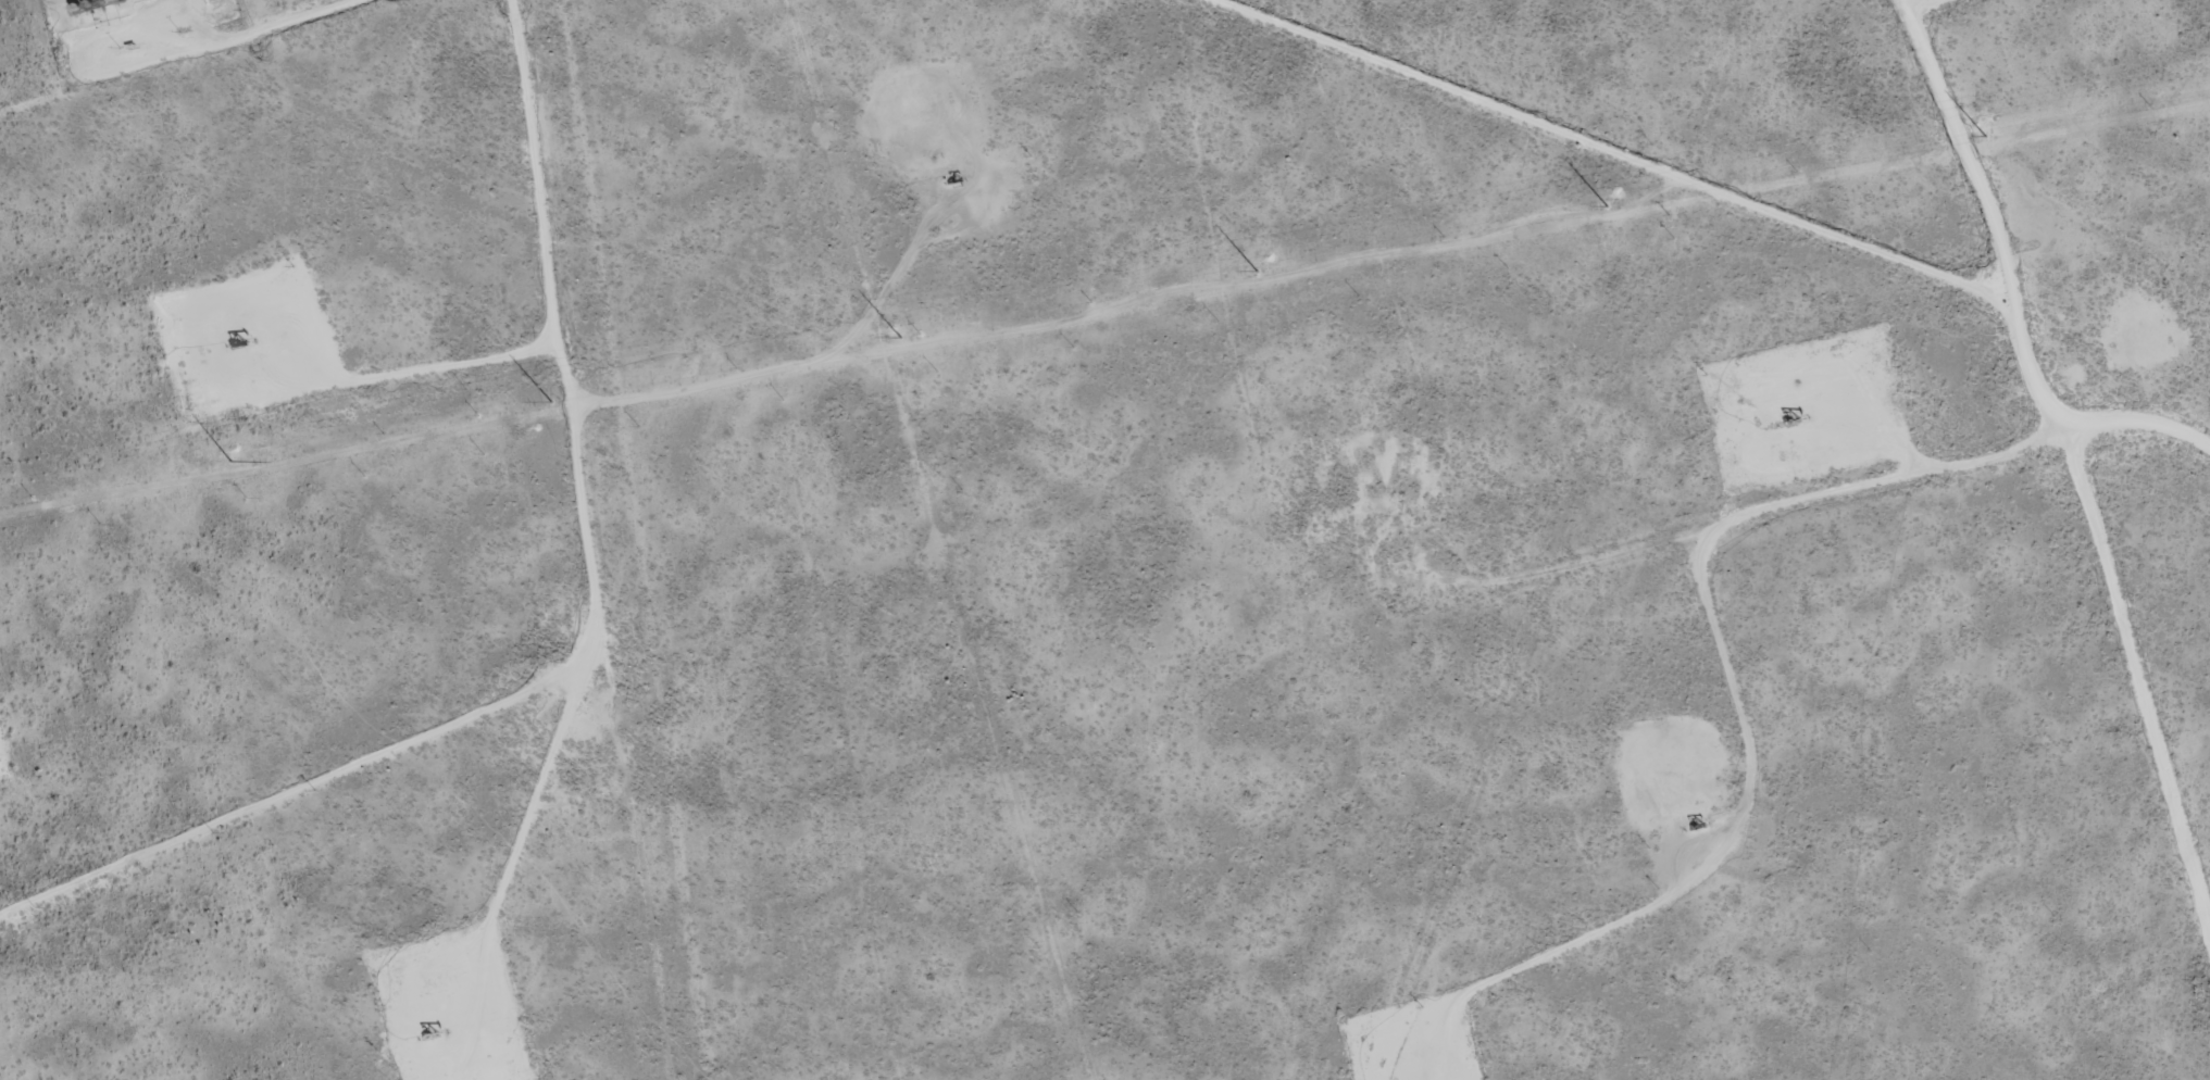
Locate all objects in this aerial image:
power tower: (1985, 133)
road: (1621, 151)
power tower: (1607, 204)
power tower: (1257, 269)
road: (2015, 306)
power tower: (896, 331)
power tower: (552, 402)
power tower: (229, 463)
road: (598, 641)
road: (2142, 715)
road: (529, 861)

